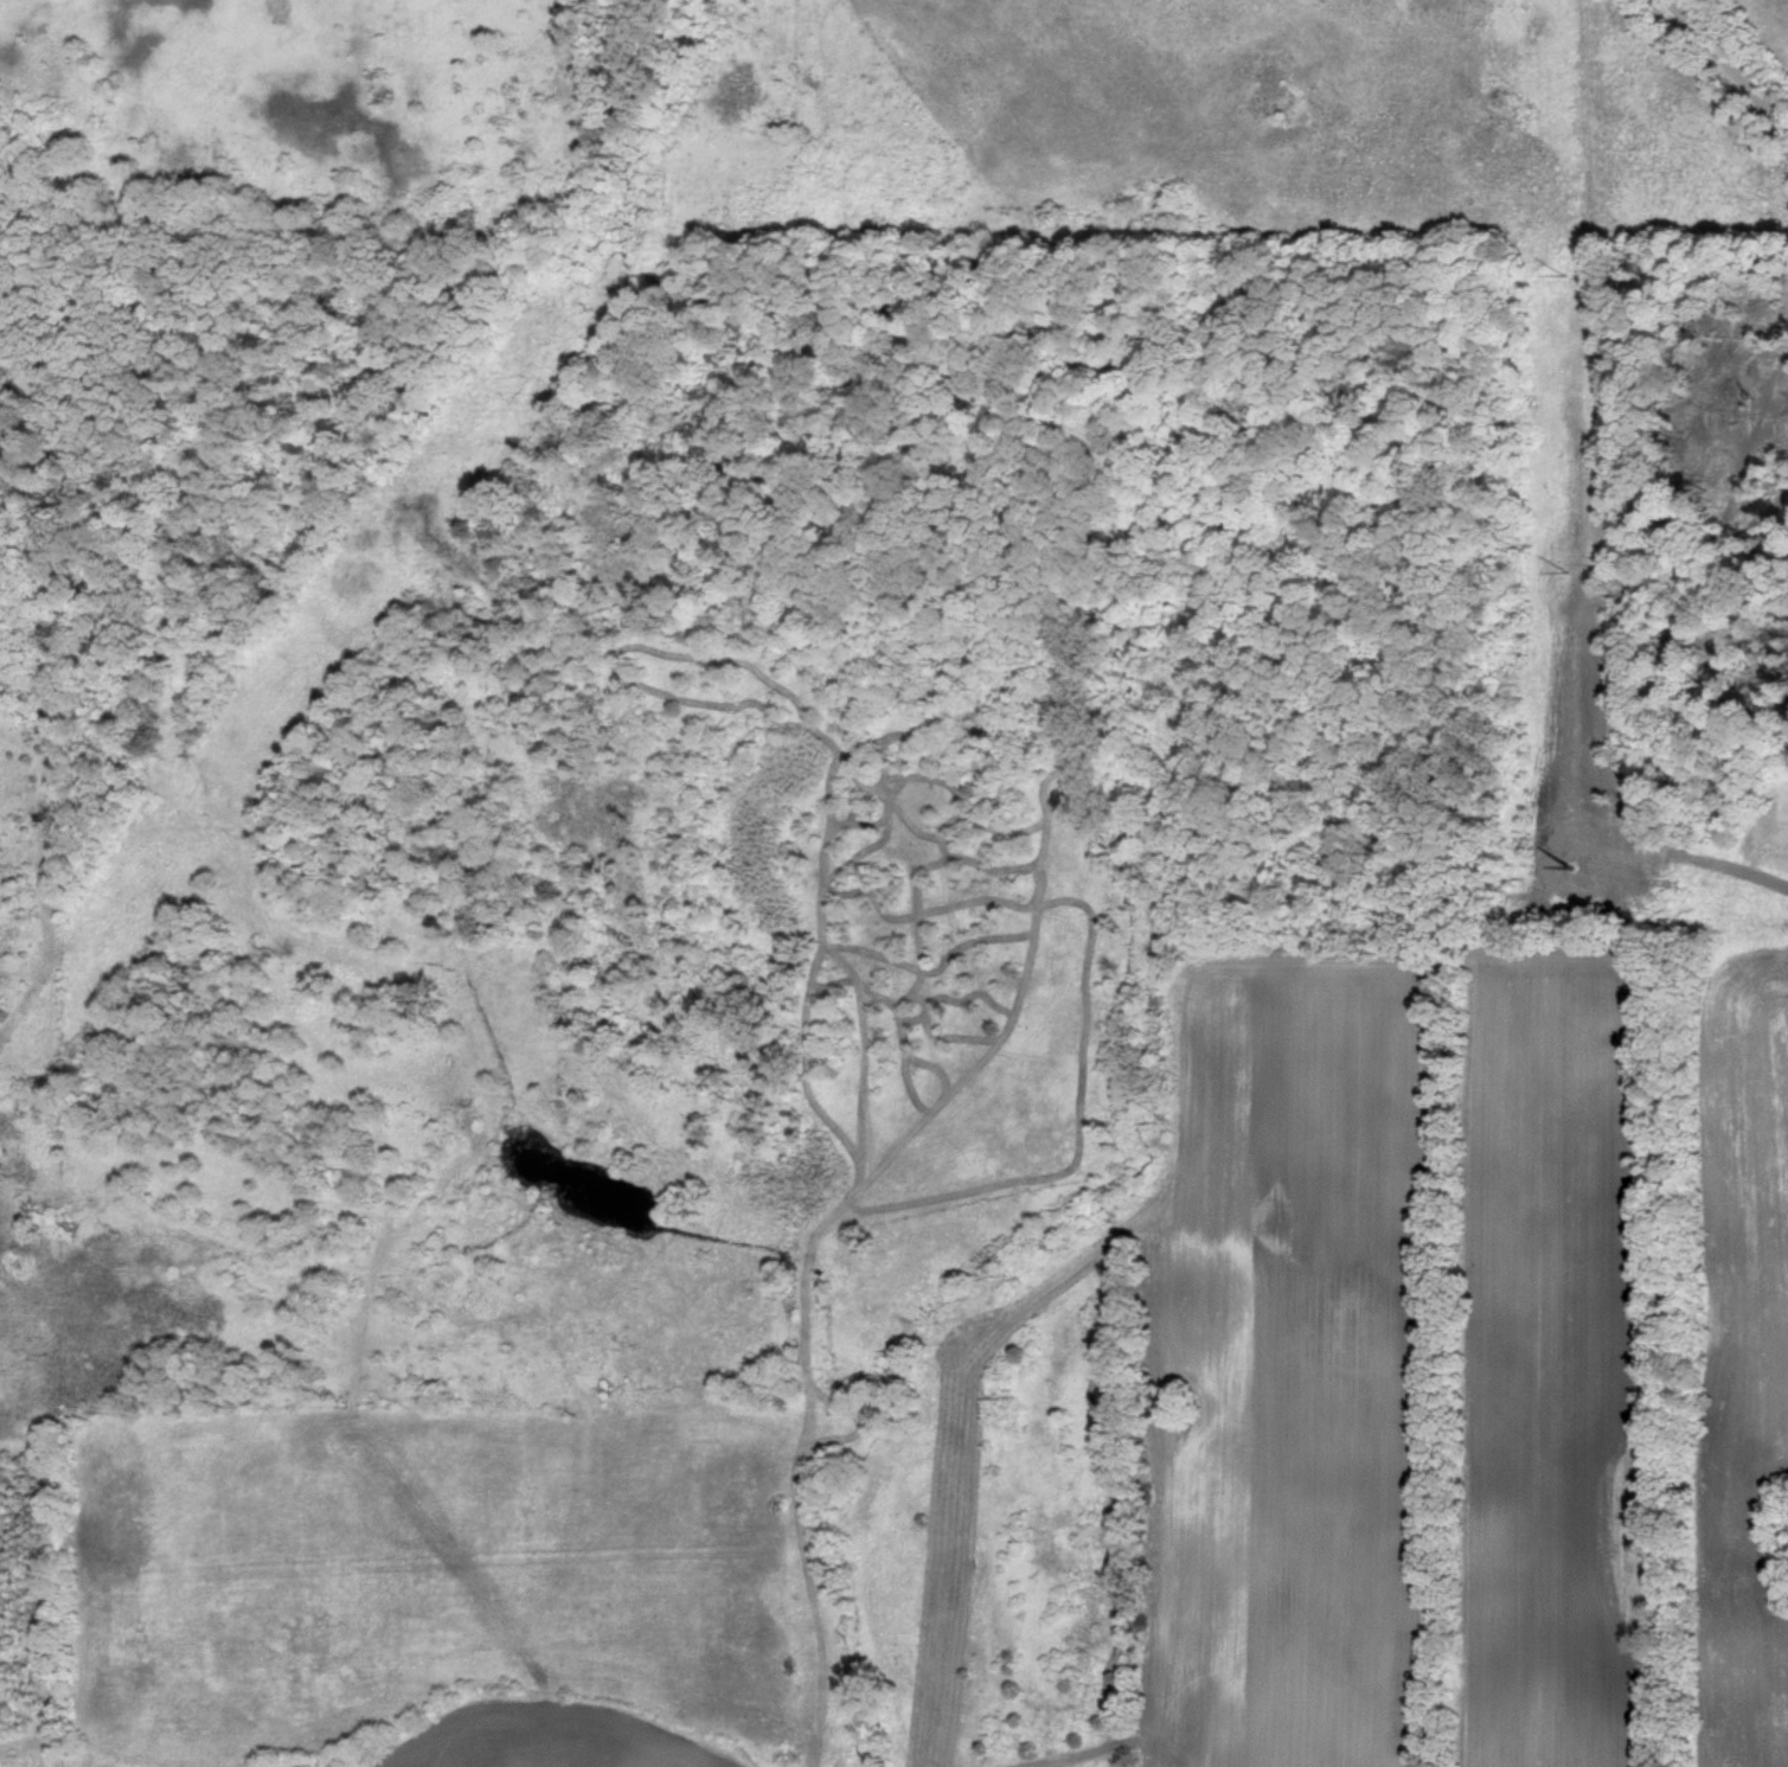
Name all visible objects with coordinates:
road: (1726, 62)

